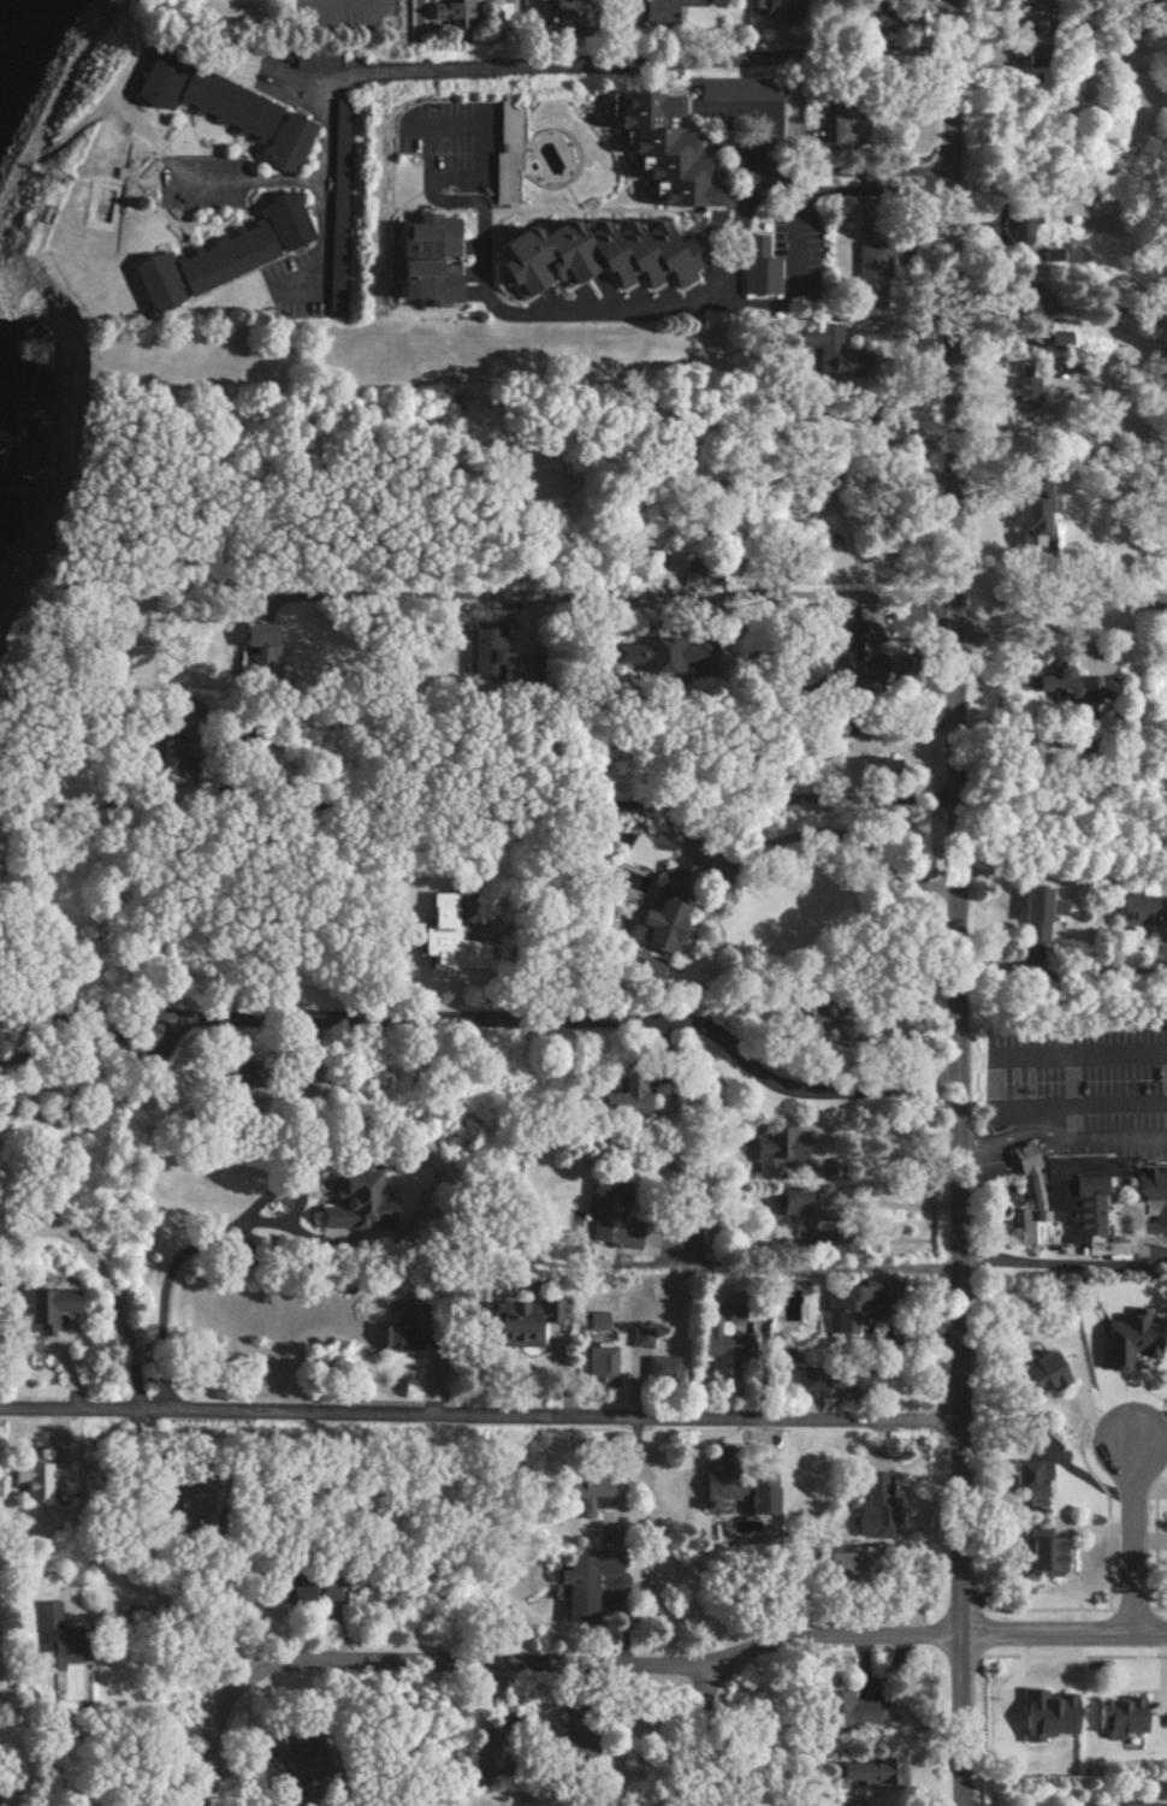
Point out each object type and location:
road: (344, 7)
building: (650, 11)
building: (1029, 11)
building: (448, 12)
building: (771, 12)
building: (313, 57)
road: (535, 69)
building: (724, 89)
building: (217, 108)
building: (842, 126)
road: (739, 134)
building: (652, 147)
building: (503, 156)
road: (863, 160)
road: (867, 171)
road: (251, 177)
road: (864, 182)
building: (1021, 224)
road: (798, 231)
building: (219, 253)
building: (583, 257)
building: (421, 260)
building: (754, 267)
building: (867, 271)
road: (488, 289)
building: (1058, 338)
building: (829, 353)
building: (1021, 395)
building: (1027, 516)
road: (1059, 580)
road: (545, 596)
building: (257, 644)
building: (484, 649)
building: (648, 655)
building: (1060, 682)
building: (872, 765)
road: (865, 799)
road: (953, 902)
building: (1131, 908)
building: (1035, 912)
building: (651, 925)
building: (645, 971)
road: (1059, 971)
building: (795, 1020)
road: (545, 1024)
building: (618, 1099)
road: (888, 1129)
road: (1055, 1132)
building: (774, 1148)
building: (1149, 1196)
road: (888, 1200)
building: (788, 1202)
building: (1053, 1203)
building: (353, 1206)
building: (611, 1234)
road: (824, 1261)
road: (1061, 1262)
road: (170, 1268)
road: (105, 1279)
building: (840, 1305)
building: (36, 1308)
building: (591, 1320)
building: (520, 1322)
building: (712, 1338)
building: (1124, 1340)
building: (636, 1342)
building: (596, 1367)
building: (659, 1369)
building: (1035, 1374)
building: (831, 1381)
road: (476, 1416)
building: (36, 1480)
building: (1023, 1482)
building: (581, 1491)
building: (737, 1491)
building: (871, 1505)
road: (1129, 1534)
building: (1039, 1555)
building: (833, 1565)
building: (582, 1583)
building: (316, 1594)
road: (180, 1607)
building: (51, 1635)
road: (1061, 1635)
road: (768, 1647)
road: (414, 1665)
building: (840, 1710)
building: (1043, 1715)
building: (1116, 1717)
building: (869, 1772)
building: (1138, 1805)

